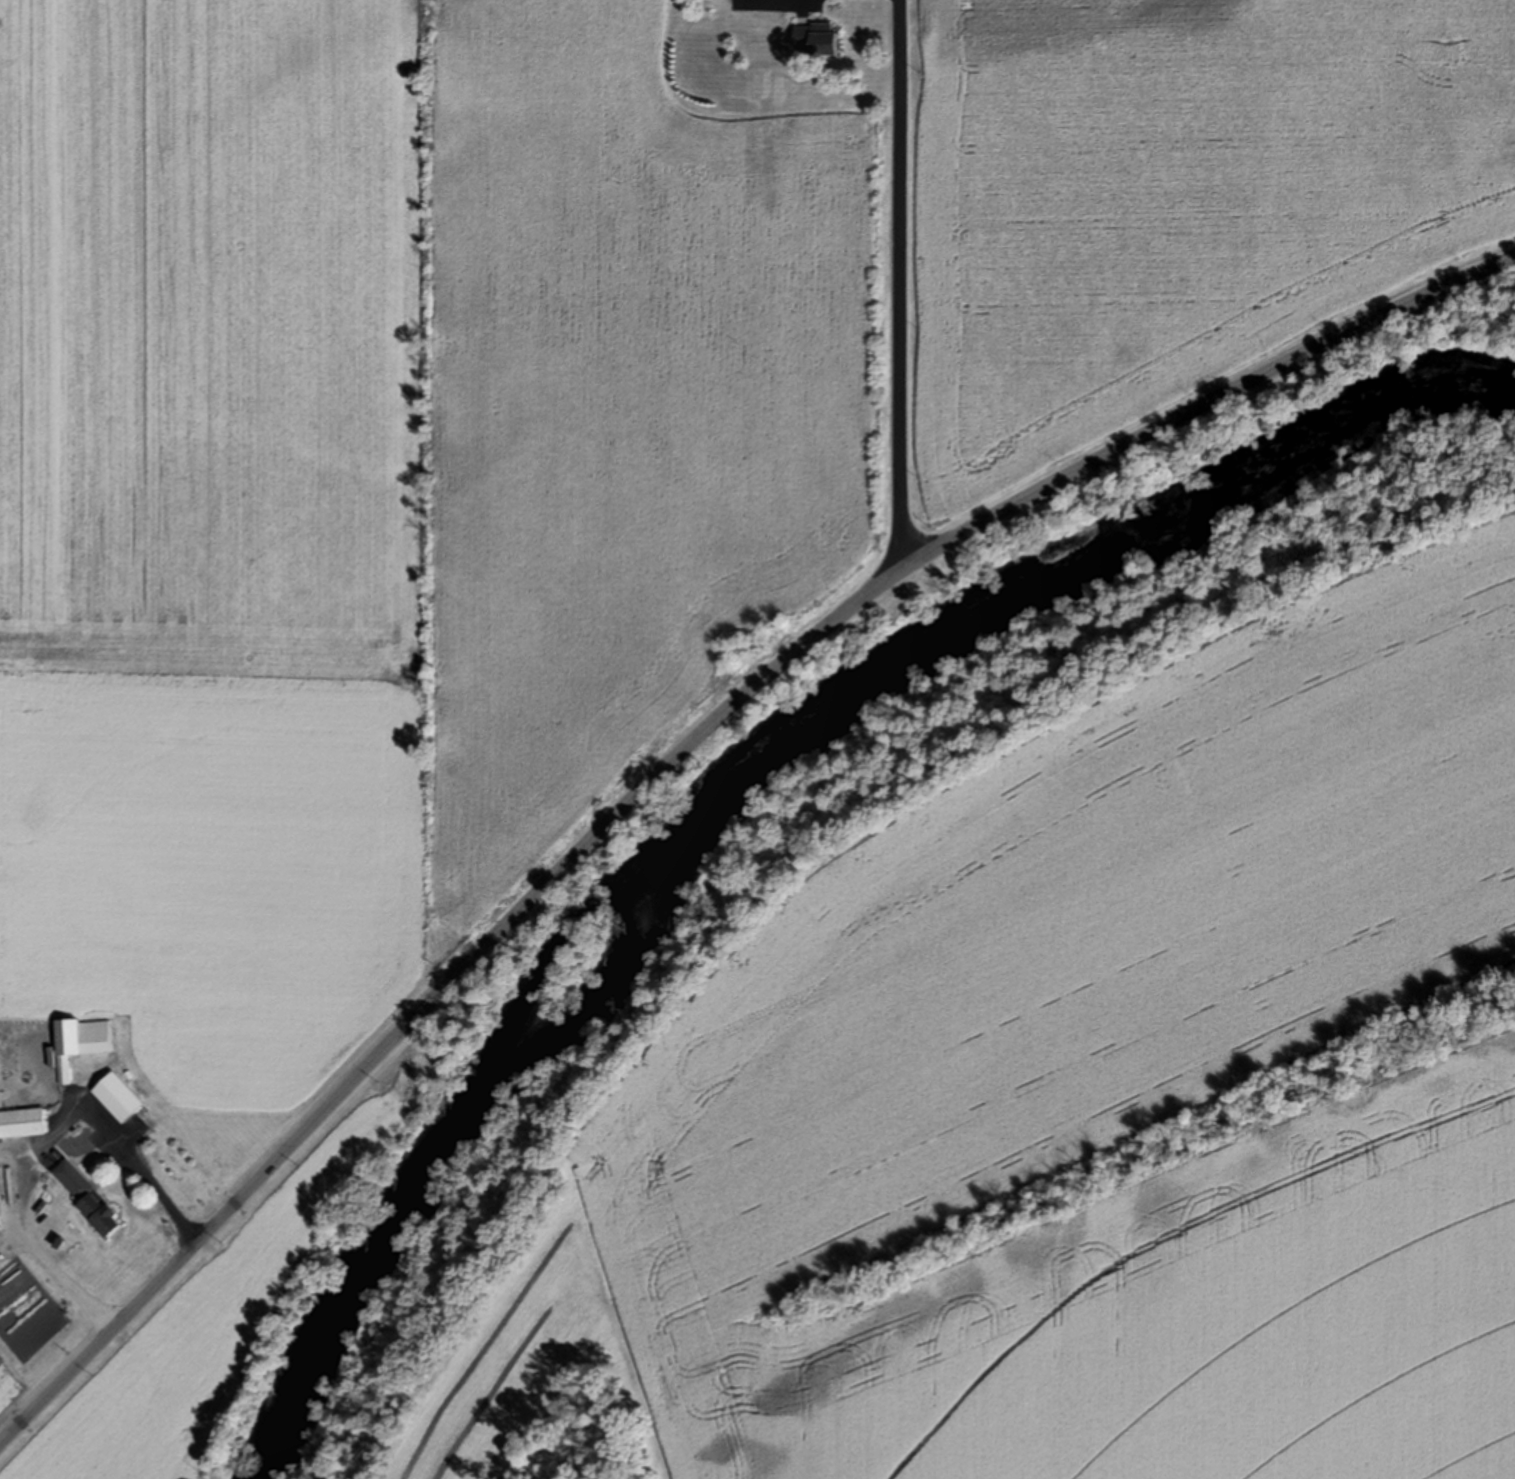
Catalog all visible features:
road: (767, 3)
building: (817, 37)
road: (896, 291)
road: (683, 755)
river: (752, 777)
building: (80, 1041)
building: (116, 1097)
building: (22, 1121)
road: (42, 1142)
building: (87, 1195)
building: (0, 1203)

